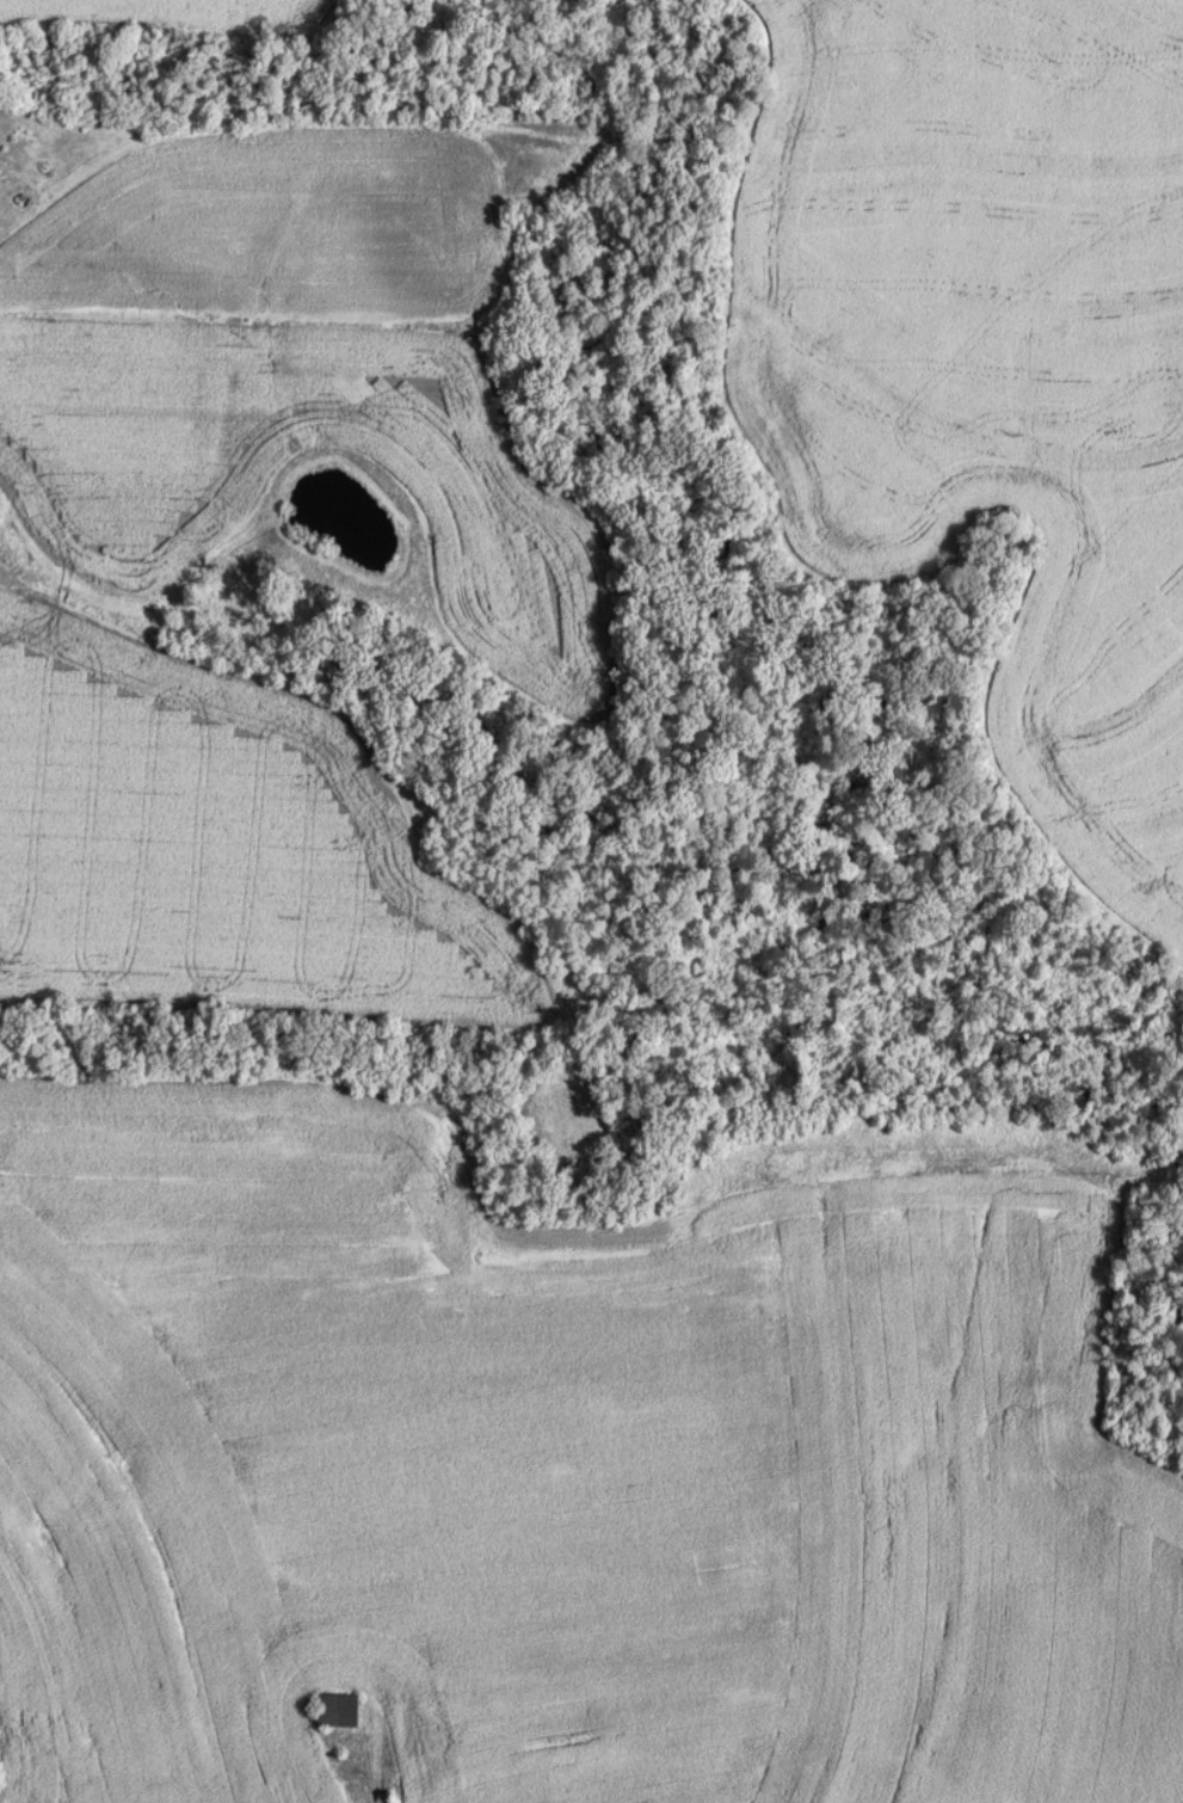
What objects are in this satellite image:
building: (340, 1709)
road: (377, 1784)

